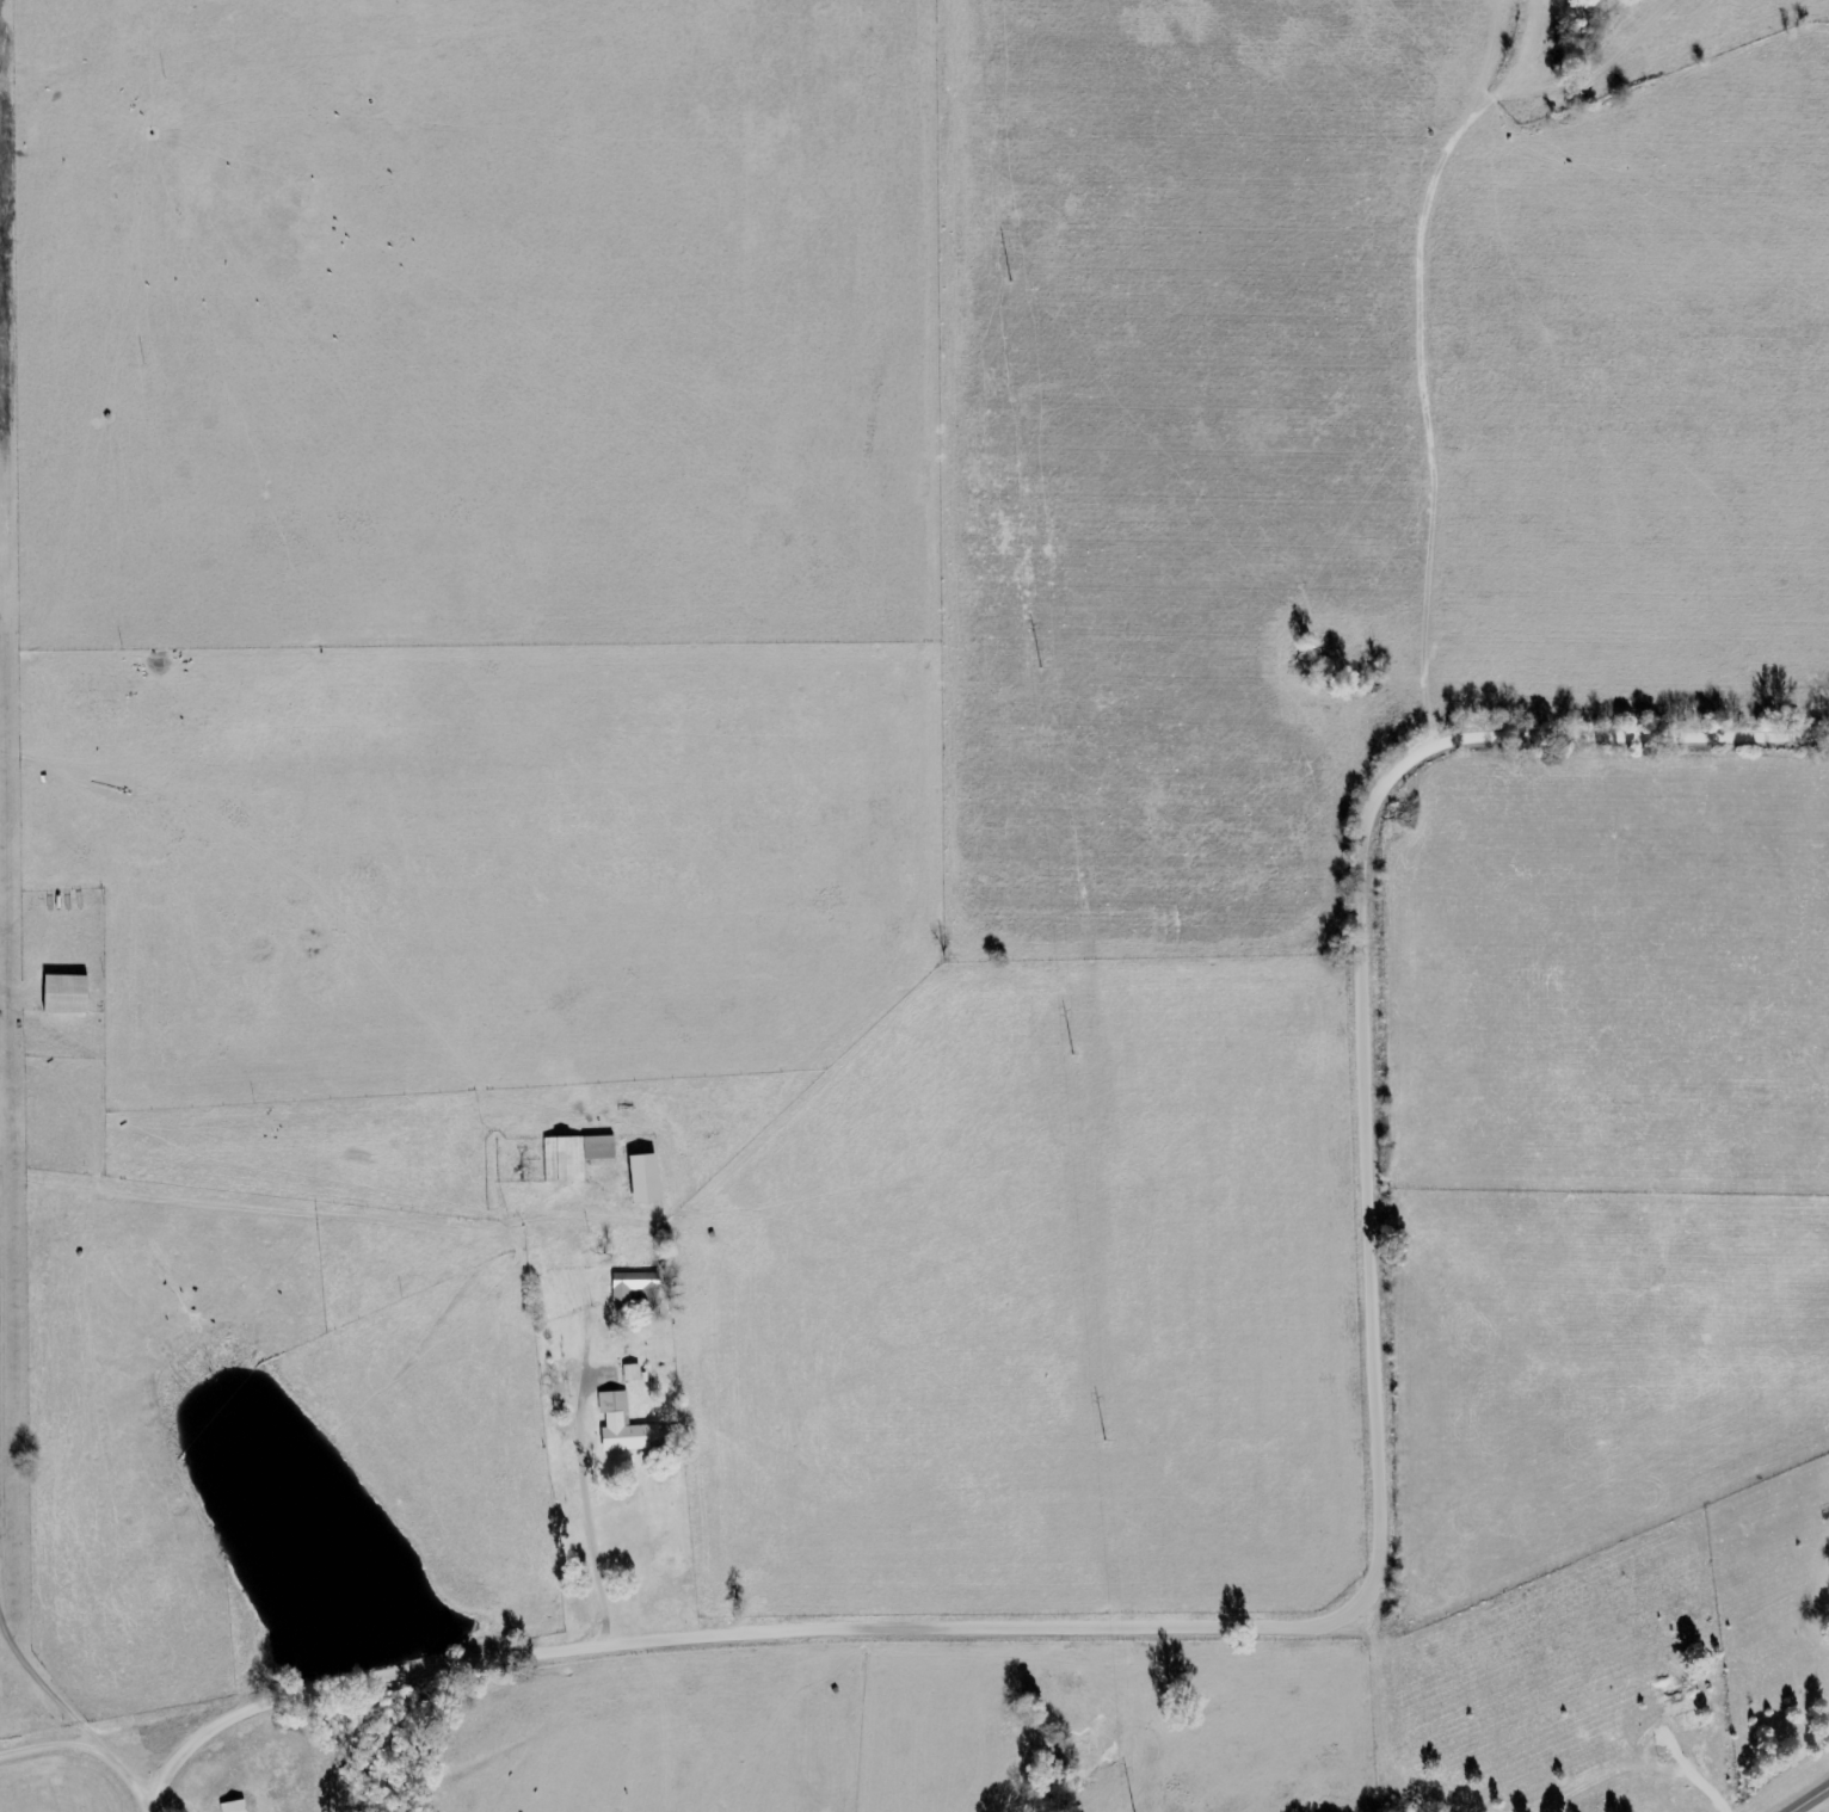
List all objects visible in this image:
building: (62, 994)
building: (571, 1155)
building: (640, 1179)
building: (629, 1286)
building: (629, 1374)
building: (618, 1425)
road: (1363, 1590)
road: (67, 1712)
building: (1687, 1722)
road: (1809, 1799)
road: (143, 1806)
building: (232, 1806)

